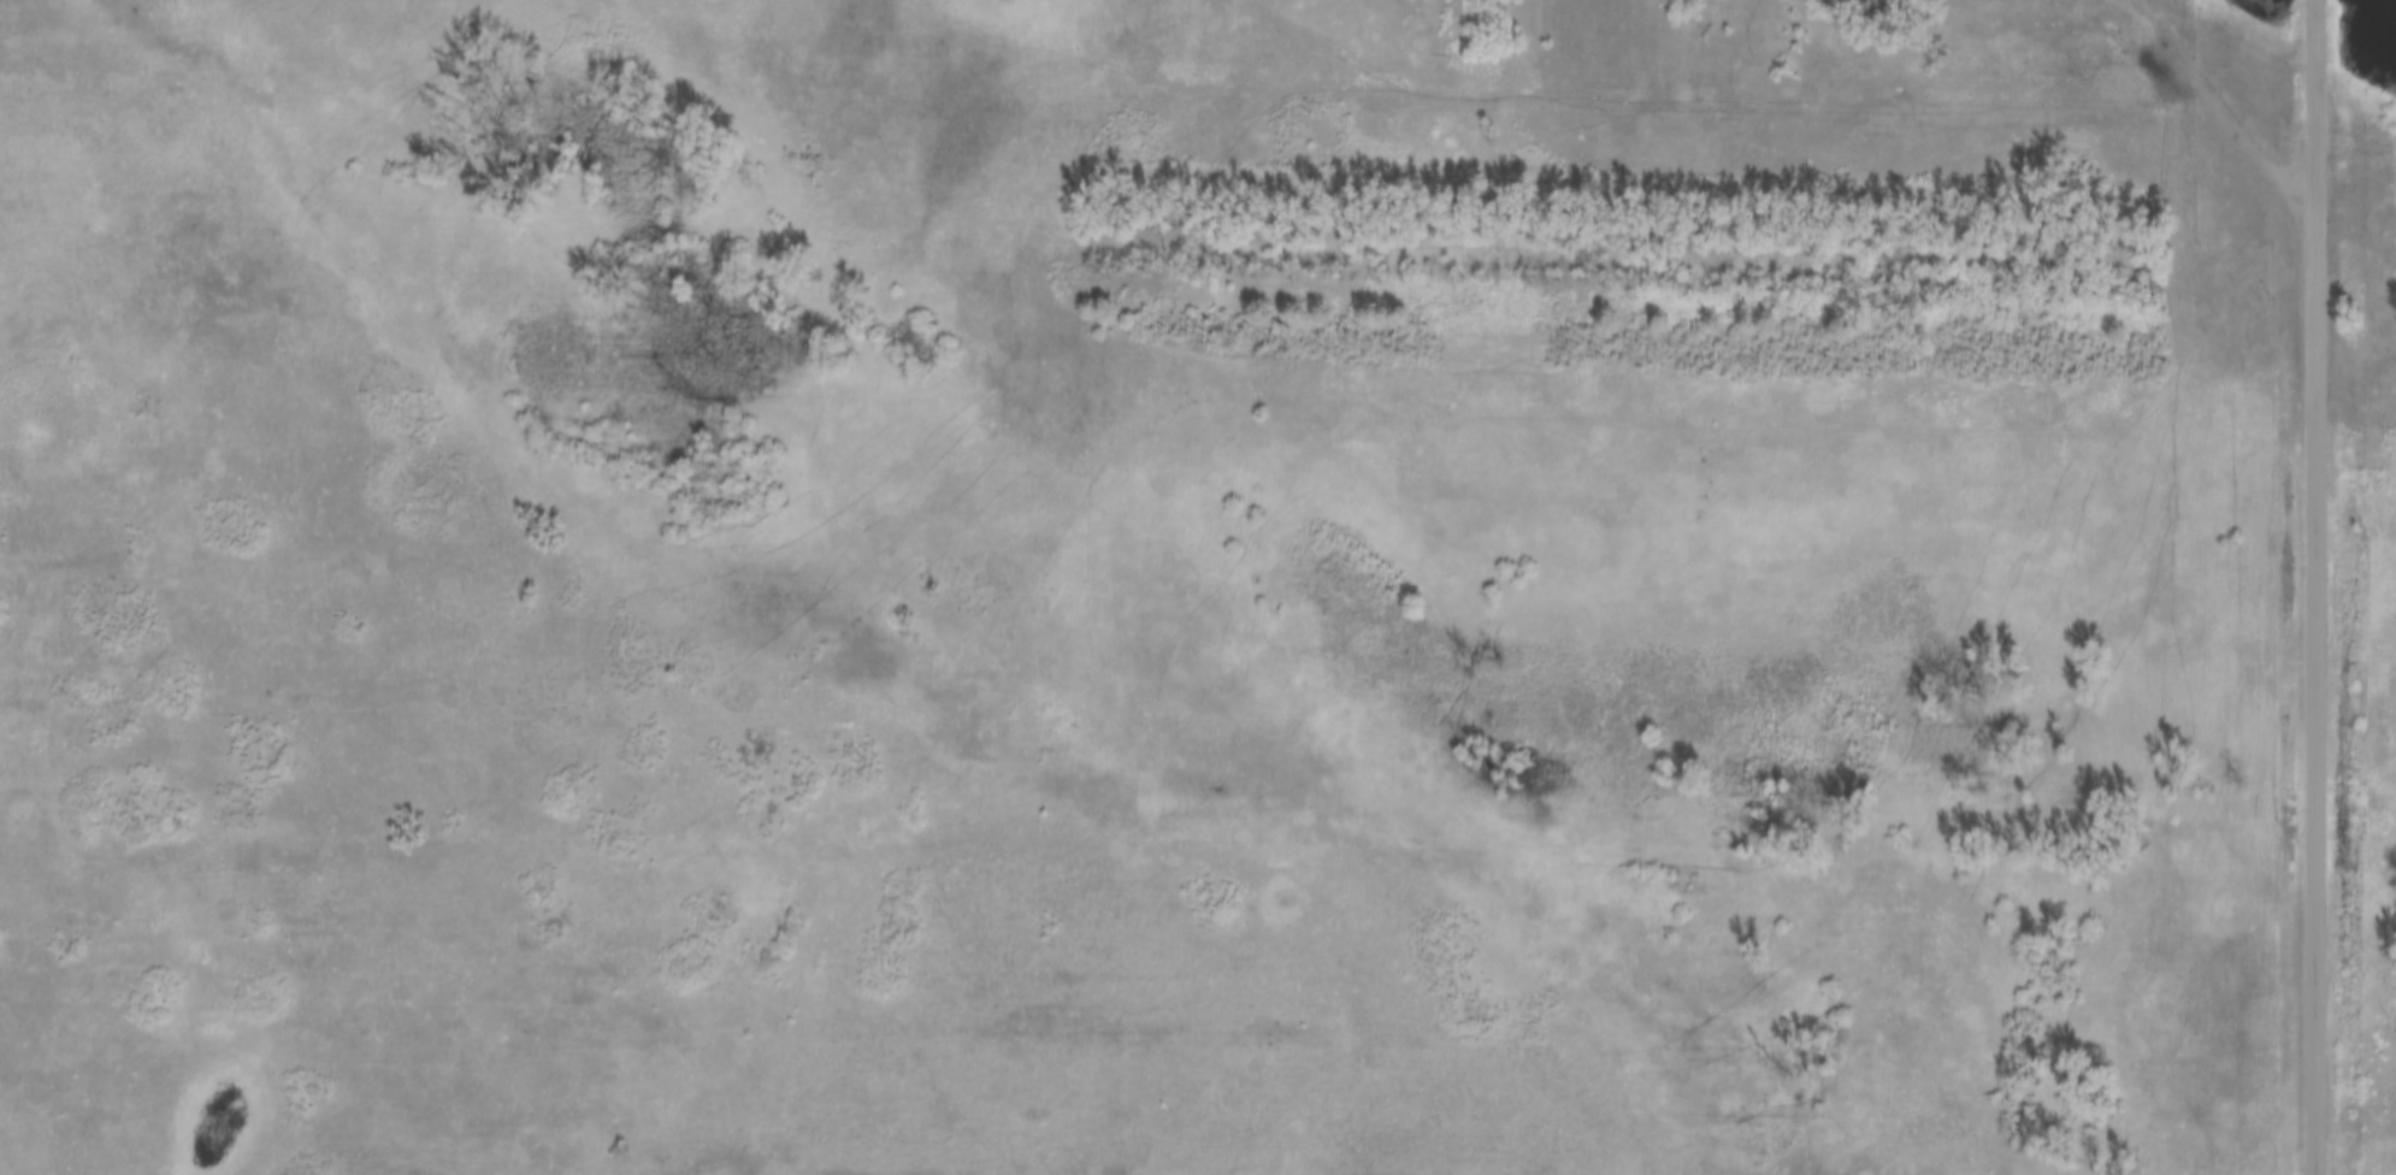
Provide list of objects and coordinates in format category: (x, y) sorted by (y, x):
road: (2224, 101)
road: (2314, 586)

